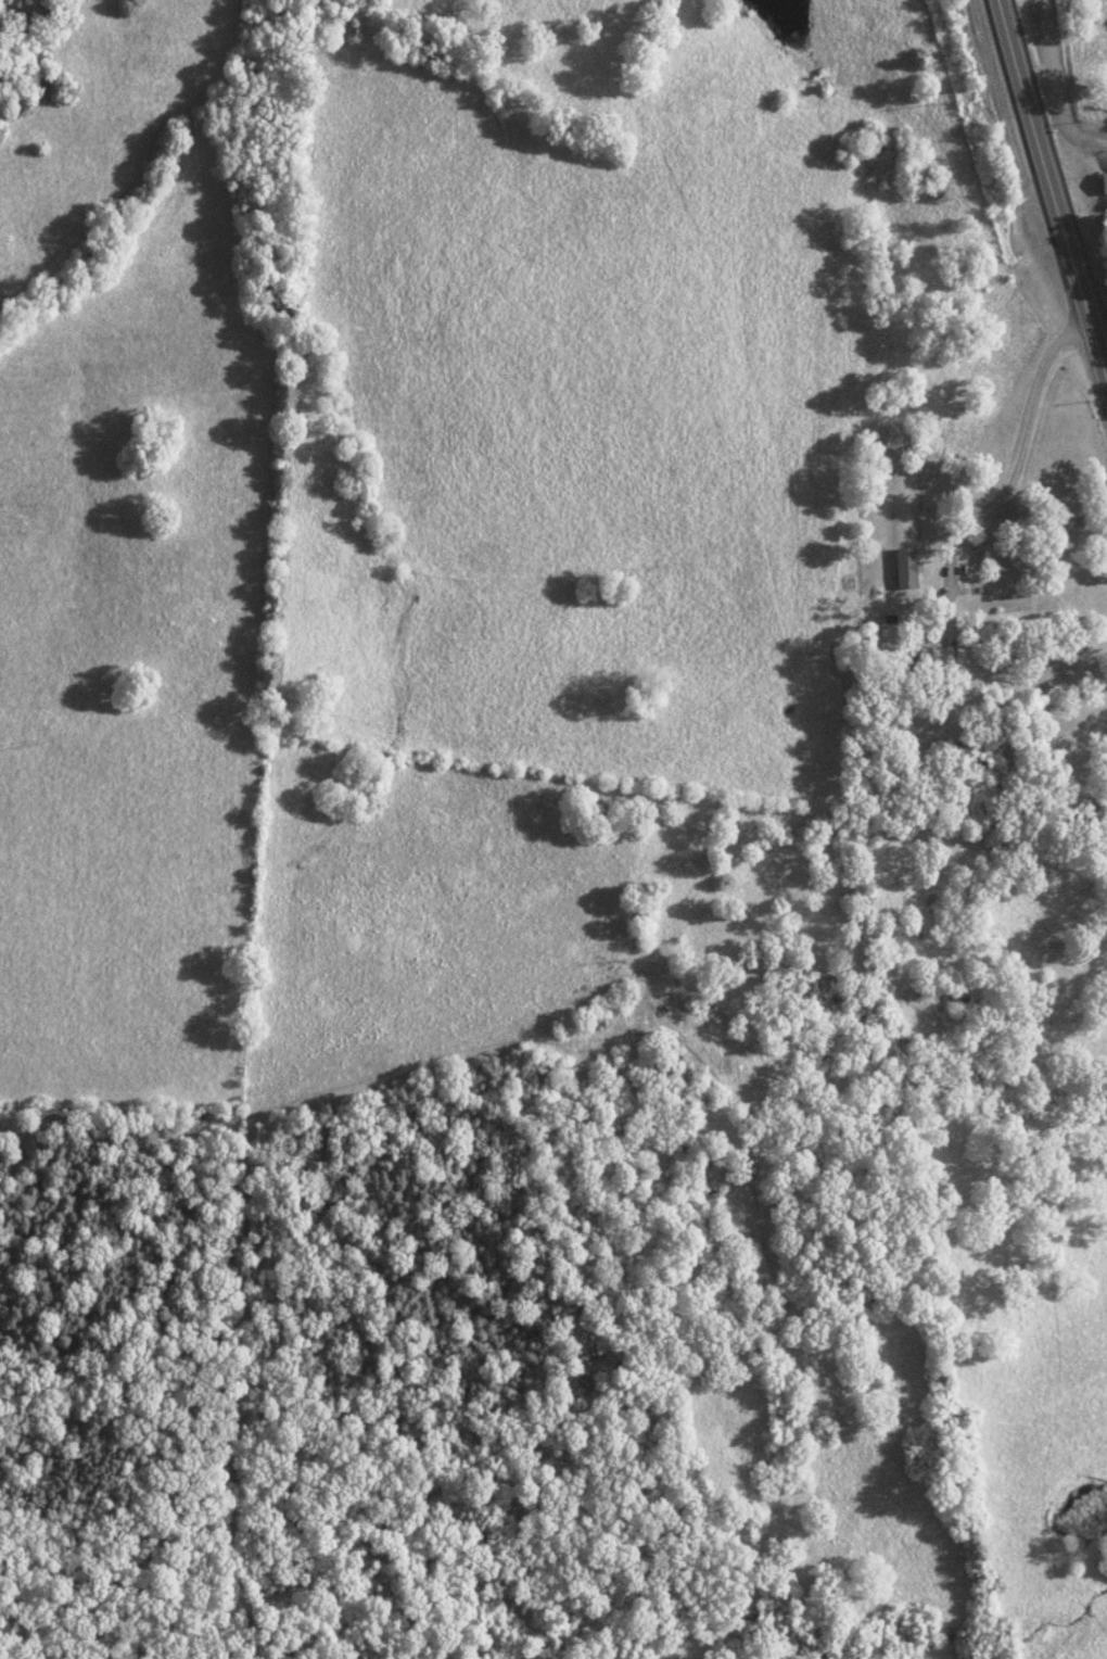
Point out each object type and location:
road: (1051, 86)
building: (1102, 179)
road: (1041, 221)
building: (903, 566)

